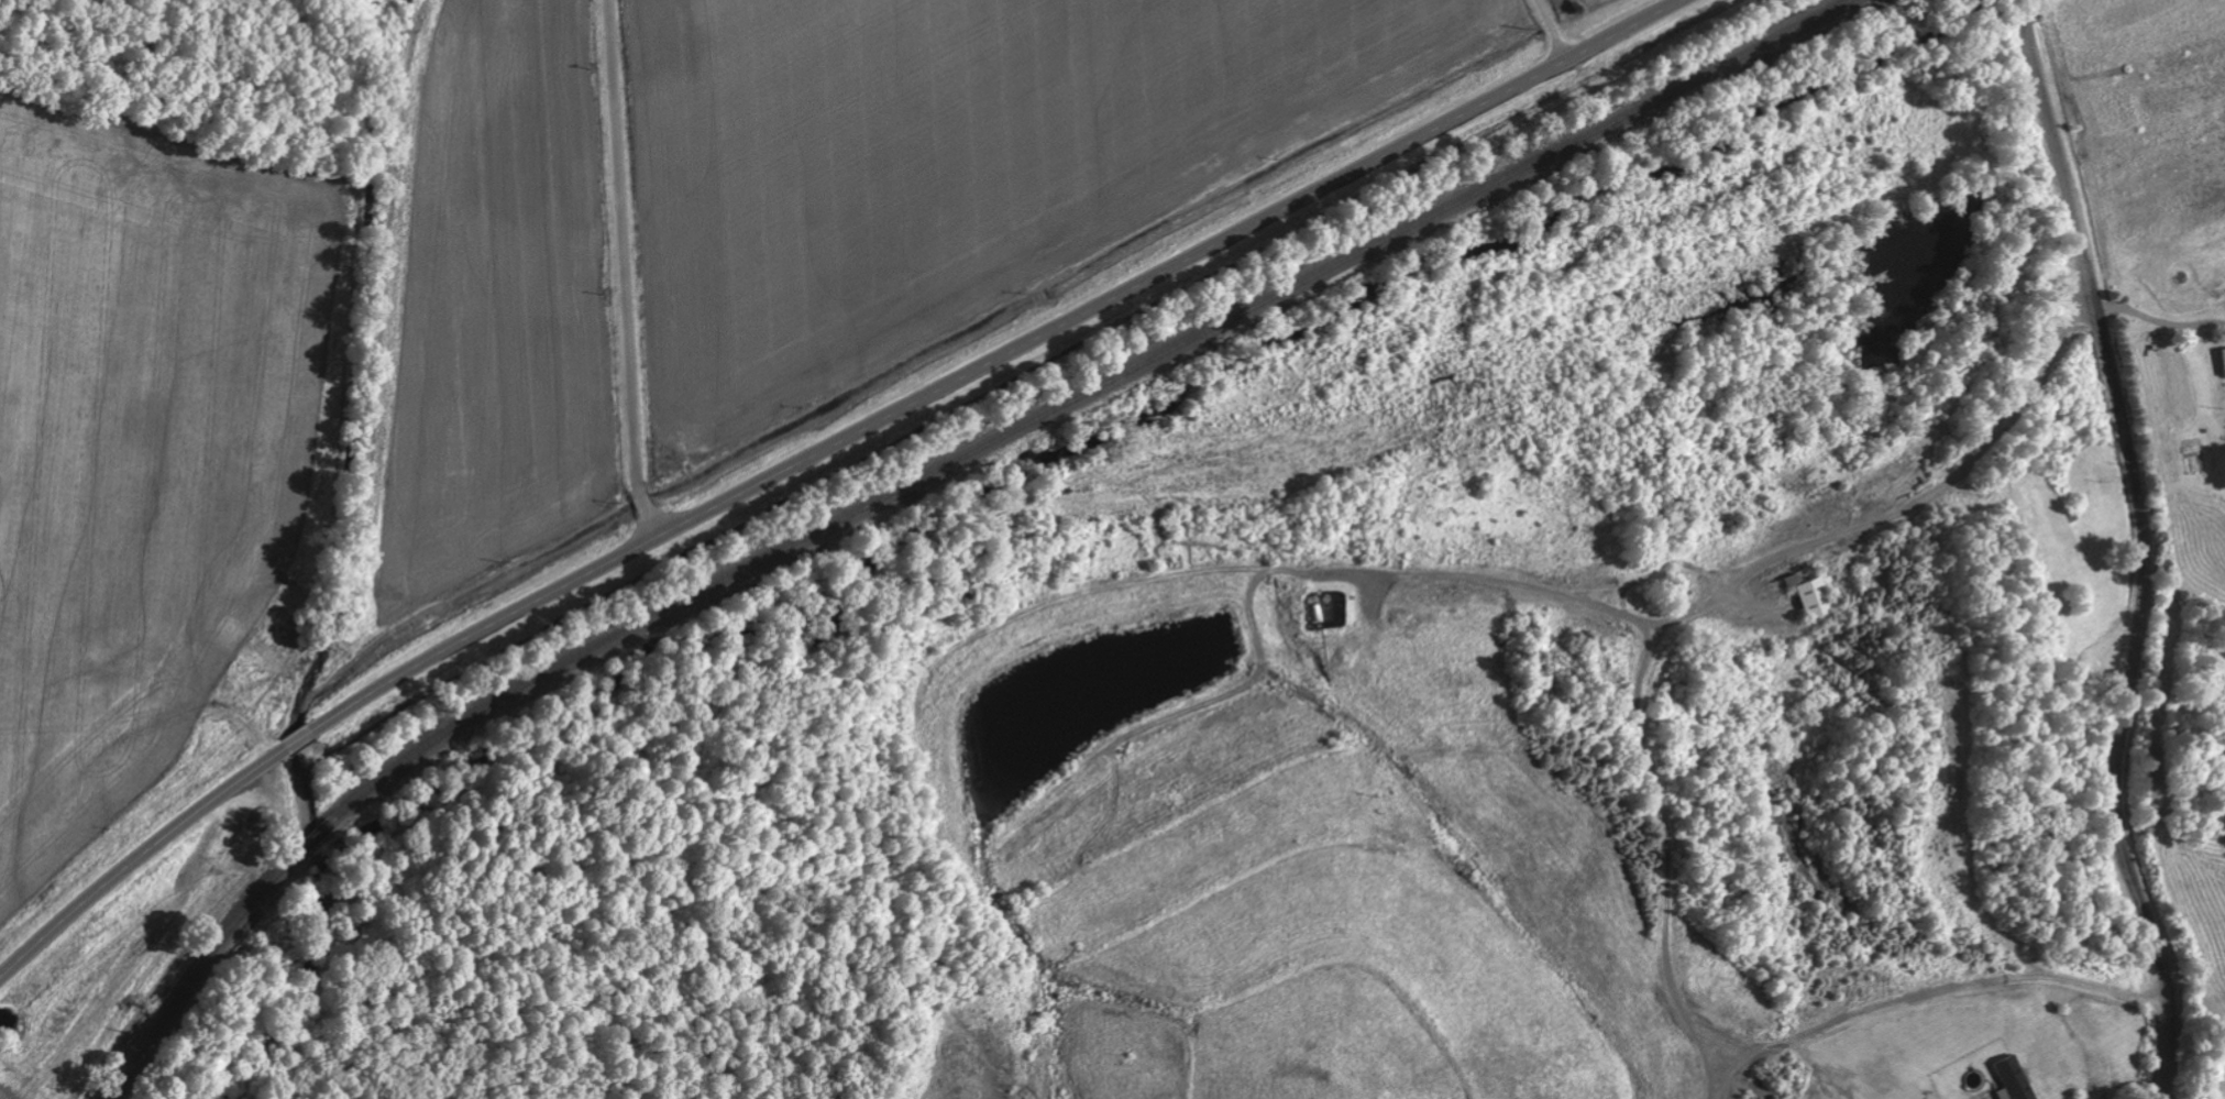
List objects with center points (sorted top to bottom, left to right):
road: (1552, 30)
road: (624, 273)
road: (817, 452)
railway: (923, 477)
road: (2140, 547)
building: (1810, 596)
road: (1929, 751)
road: (2000, 814)
building: (2011, 1079)

